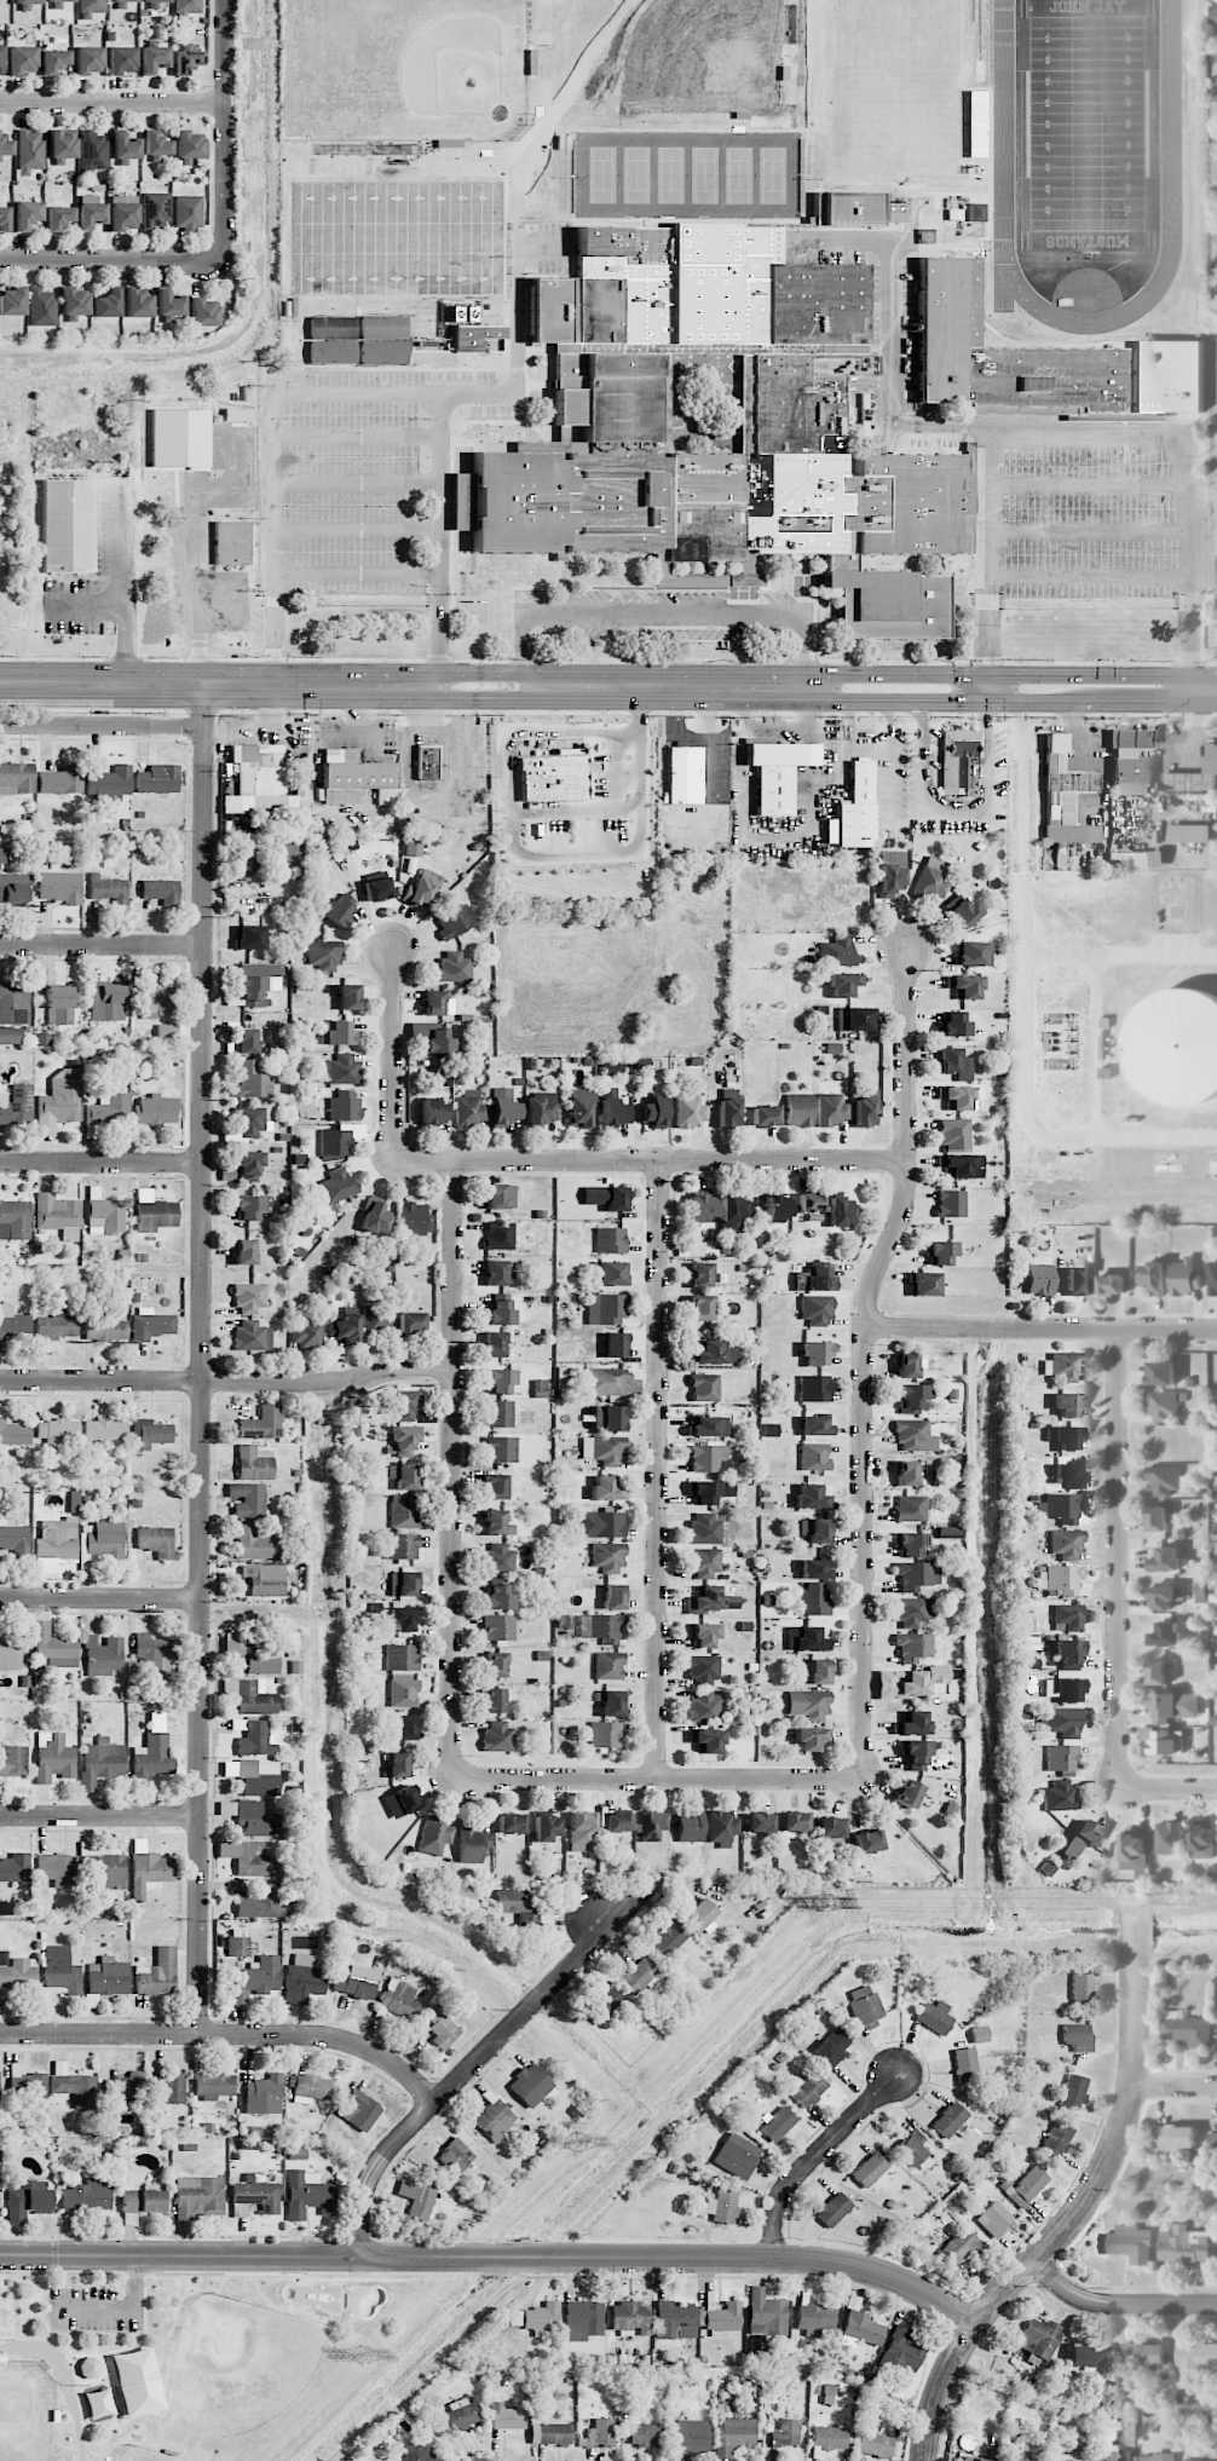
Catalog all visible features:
building: (5, 0)
building: (59, 0)
building: (28, 1)
building: (123, 1)
building: (152, 4)
building: (188, 6)
building: (90, 7)
building: (0, 57)
building: (152, 58)
building: (22, 59)
building: (121, 59)
building: (54, 60)
building: (87, 60)
building: (186, 60)
road: (111, 104)
track: (1004, 123)
park: (1088, 126)
road: (223, 129)
building: (62, 143)
building: (156, 144)
building: (189, 145)
building: (125, 146)
building: (6, 149)
building: (29, 151)
building: (93, 151)
building: (155, 209)
building: (893, 209)
building: (849, 211)
building: (188, 212)
building: (976, 212)
building: (123, 213)
building: (27, 214)
building: (91, 215)
building: (58, 218)
building: (4, 219)
road: (111, 259)
building: (12, 301)
building: (137, 302)
building: (73, 304)
building: (106, 304)
building: (168, 306)
building: (41, 307)
building: (202, 312)
building: (468, 327)
building: (331, 328)
building: (385, 328)
road: (518, 330)
building: (383, 353)
building: (333, 355)
building: (1002, 356)
building: (1166, 377)
road: (892, 384)
road: (358, 394)
building: (604, 414)
road: (1136, 431)
road: (358, 436)
building: (178, 438)
road: (359, 483)
building: (68, 525)
road: (359, 529)
road: (189, 538)
building: (231, 542)
road: (359, 576)
road: (662, 609)
road: (126, 618)
road: (1188, 634)
road: (521, 647)
road: (802, 647)
road: (893, 674)
road: (1089, 675)
road: (402, 685)
road: (986, 688)
road: (1204, 690)
road: (863, 699)
road: (956, 699)
road: (1089, 701)
road: (803, 715)
road: (103, 725)
road: (774, 728)
road: (809, 754)
road: (711, 756)
road: (927, 756)
building: (426, 761)
building: (959, 761)
building: (1130, 761)
building: (778, 772)
building: (684, 773)
building: (1195, 776)
building: (353, 777)
building: (16, 778)
building: (554, 778)
building: (158, 779)
building: (62, 780)
building: (259, 780)
building: (110, 784)
road: (809, 791)
building: (1065, 795)
building: (856, 807)
road: (936, 812)
road: (774, 834)
building: (1189, 834)
building: (413, 848)
road: (531, 853)
building: (284, 854)
building: (2, 855)
building: (1135, 859)
building: (246, 861)
building: (890, 872)
building: (932, 878)
building: (60, 887)
building: (15, 888)
building: (106, 888)
building: (376, 888)
building: (421, 889)
building: (161, 891)
building: (339, 910)
building: (959, 911)
building: (454, 922)
building: (249, 936)
road: (103, 944)
building: (837, 951)
building: (973, 952)
building: (324, 955)
building: (454, 967)
building: (46, 976)
building: (256, 982)
building: (844, 984)
building: (963, 986)
building: (348, 997)
building: (106, 1001)
building: (157, 1001)
building: (433, 1002)
building: (60, 1003)
building: (13, 1004)
building: (854, 1019)
building: (952, 1024)
building: (166, 1032)
building: (10, 1034)
building: (338, 1034)
building: (434, 1038)
building: (244, 1041)
building: (1176, 1048)
road: (393, 1055)
building: (952, 1062)
building: (611, 1067)
building: (341, 1068)
building: (258, 1078)
building: (959, 1096)
building: (59, 1102)
building: (18, 1106)
building: (344, 1107)
building: (503, 1107)
building: (541, 1108)
building: (578, 1108)
building: (727, 1108)
building: (108, 1110)
building: (156, 1110)
building: (471, 1110)
building: (611, 1110)
building: (688, 1110)
building: (798, 1110)
building: (831, 1110)
building: (433, 1111)
building: (652, 1112)
building: (863, 1112)
building: (763, 1116)
building: (249, 1120)
building: (953, 1134)
building: (338, 1141)
road: (651, 1162)
road: (103, 1163)
building: (248, 1164)
building: (959, 1164)
building: (336, 1186)
building: (500, 1195)
building: (605, 1197)
building: (811, 1201)
building: (951, 1203)
building: (252, 1206)
building: (702, 1208)
building: (777, 1208)
building: (154, 1212)
building: (731, 1212)
building: (840, 1212)
building: (58, 1215)
building: (104, 1215)
building: (375, 1216)
building: (15, 1220)
building: (415, 1220)
building: (498, 1235)
building: (610, 1240)
building: (244, 1251)
building: (939, 1251)
building: (498, 1273)
building: (611, 1273)
building: (699, 1274)
building: (1184, 1278)
building: (1212, 1278)
building: (814, 1279)
building: (1039, 1279)
building: (1077, 1280)
building: (1153, 1280)
building: (922, 1284)
building: (249, 1297)
building: (700, 1308)
building: (606, 1309)
building: (815, 1309)
building: (498, 1312)
building: (375, 1320)
building: (12, 1322)
building: (410, 1322)
building: (151, 1324)
building: (56, 1326)
building: (345, 1326)
building: (106, 1330)
road: (1042, 1330)
building: (308, 1331)
building: (252, 1336)
building: (494, 1344)
building: (615, 1345)
building: (714, 1351)
building: (817, 1351)
road: (204, 1360)
road: (866, 1361)
building: (907, 1364)
building: (1063, 1365)
building: (1155, 1374)
building: (498, 1381)
road: (227, 1383)
building: (608, 1383)
building: (705, 1387)
building: (814, 1388)
building: (912, 1397)
building: (399, 1402)
building: (1067, 1404)
building: (1163, 1406)
building: (498, 1413)
building: (607, 1418)
building: (261, 1423)
building: (814, 1424)
building: (708, 1425)
building: (104, 1429)
building: (769, 1430)
building: (57, 1431)
building: (13, 1433)
building: (149, 1434)
building: (913, 1435)
building: (1065, 1437)
building: (404, 1439)
building: (500, 1449)
building: (602, 1449)
building: (706, 1457)
building: (814, 1457)
building: (254, 1463)
road: (452, 1470)
road: (659, 1471)
building: (905, 1472)
building: (1068, 1475)
building: (403, 1476)
building: (1164, 1480)
building: (495, 1487)
building: (607, 1488)
building: (704, 1492)
building: (812, 1497)
building: (247, 1499)
building: (910, 1508)
building: (403, 1511)
building: (1158, 1518)
building: (497, 1523)
building: (601, 1525)
building: (705, 1529)
building: (948, 1529)
building: (814, 1531)
building: (13, 1537)
building: (103, 1538)
building: (157, 1540)
building: (909, 1543)
building: (1065, 1543)
building: (254, 1544)
building: (56, 1545)
building: (402, 1546)
building: (607, 1557)
building: (500, 1558)
building: (1165, 1560)
building: (705, 1562)
road: (1117, 1562)
building: (813, 1569)
building: (916, 1575)
building: (1063, 1579)
building: (264, 1580)
building: (403, 1584)
building: (612, 1596)
building: (497, 1597)
building: (1165, 1597)
road: (102, 1598)
building: (713, 1601)
building: (813, 1602)
building: (912, 1612)
building: (1067, 1615)
building: (403, 1619)
building: (498, 1627)
building: (601, 1627)
building: (702, 1635)
building: (1166, 1635)
building: (806, 1639)
building: (233, 1643)
building: (912, 1647)
building: (52, 1648)
building: (152, 1652)
building: (1067, 1652)
building: (12, 1653)
building: (103, 1655)
building: (260, 1656)
building: (402, 1658)
building: (496, 1665)
building: (608, 1665)
building: (703, 1668)
building: (818, 1671)
building: (1158, 1672)
building: (919, 1681)
building: (1063, 1688)
building: (403, 1690)
building: (250, 1696)
building: (492, 1700)
building: (611, 1702)
building: (808, 1705)
building: (704, 1706)
building: (1173, 1707)
building: (1061, 1721)
building: (911, 1723)
building: (404, 1728)
building: (604, 1734)
building: (498, 1736)
building: (254, 1737)
building: (811, 1737)
building: (705, 1741)
building: (1164, 1741)
building: (154, 1750)
building: (916, 1756)
building: (53, 1758)
building: (1062, 1759)
building: (13, 1760)
building: (102, 1762)
building: (398, 1764)
building: (259, 1777)
road: (657, 1781)
building: (906, 1793)
road: (1166, 1793)
building: (1059, 1796)
building: (402, 1800)
road: (102, 1817)
building: (256, 1819)
building: (617, 1822)
building: (759, 1822)
building: (794, 1822)
building: (511, 1823)
building: (651, 1826)
building: (690, 1826)
building: (829, 1827)
building: (546, 1828)
building: (722, 1828)
building: (581, 1832)
building: (434, 1837)
building: (1167, 1838)
building: (1082, 1839)
building: (866, 1842)
building: (1202, 1842)
building: (472, 1845)
building: (1135, 1855)
building: (252, 1858)
building: (15, 1868)
building: (57, 1869)
building: (109, 1871)
building: (149, 1873)
power tower: (1178, 1900)
power tower: (826, 1901)
building: (260, 1902)
building: (515, 1904)
building: (699, 1915)
road: (599, 1920)
building: (667, 1940)
building: (238, 1946)
building: (60, 1970)
building: (157, 1973)
building: (18, 1975)
building: (638, 1976)
building: (108, 1977)
building: (256, 1979)
building: (302, 1979)
building: (354, 1985)
building: (1082, 1989)
building: (398, 2000)
building: (604, 2002)
building: (864, 2006)
building: (934, 2017)
building: (442, 2028)
building: (1187, 2030)
building: (979, 2034)
road: (229, 2036)
building: (1077, 2036)
building: (831, 2047)
road: (479, 2058)
building: (964, 2064)
building: (210, 2081)
building: (530, 2085)
building: (31, 2086)
road: (1175, 2086)
building: (809, 2087)
building: (75, 2088)
building: (311, 2088)
building: (166, 2090)
building: (1073, 2092)
building: (264, 2094)
building: (358, 2110)
building: (494, 2120)
building: (948, 2120)
building: (777, 2123)
power tower: (576, 2137)
building: (1057, 2139)
building: (1173, 2139)
building: (1212, 2144)
building: (912, 2149)
road: (815, 2155)
building: (455, 2156)
building: (736, 2156)
building: (869, 2169)
building: (1027, 2186)
building: (307, 2194)
building: (87, 2195)
building: (200, 2196)
building: (255, 2197)
building: (27, 2200)
building: (416, 2200)
building: (140, 2204)
building: (721, 2206)
road: (1079, 2207)
building: (832, 2208)
building: (993, 2219)
building: (1129, 2243)
building: (1183, 2246)
building: (959, 2248)
road: (496, 2260)
road: (1117, 2307)
building: (766, 2313)
building: (541, 2318)
building: (630, 2318)
building: (722, 2318)
building: (583, 2319)
building: (814, 2319)
building: (675, 2321)
building: (860, 2329)
building: (1039, 2339)
building: (902, 2352)
building: (1143, 2353)
building: (1194, 2353)
power tower: (363, 2355)
building: (1089, 2356)
building: (780, 2357)
park: (188, 2358)
building: (88, 2368)
building: (463, 2415)
building: (507, 2417)
building: (600, 2433)
building: (785, 2433)
building: (549, 2434)
building: (645, 2434)
building: (691, 2436)
building: (733, 2436)
building: (829, 2437)
building: (873, 2445)
building: (416, 2453)
building: (1117, 2455)
building: (1060, 2457)
building: (1155, 2457)
building: (973, 2459)
building: (1019, 2459)
building: (1184, 2460)

